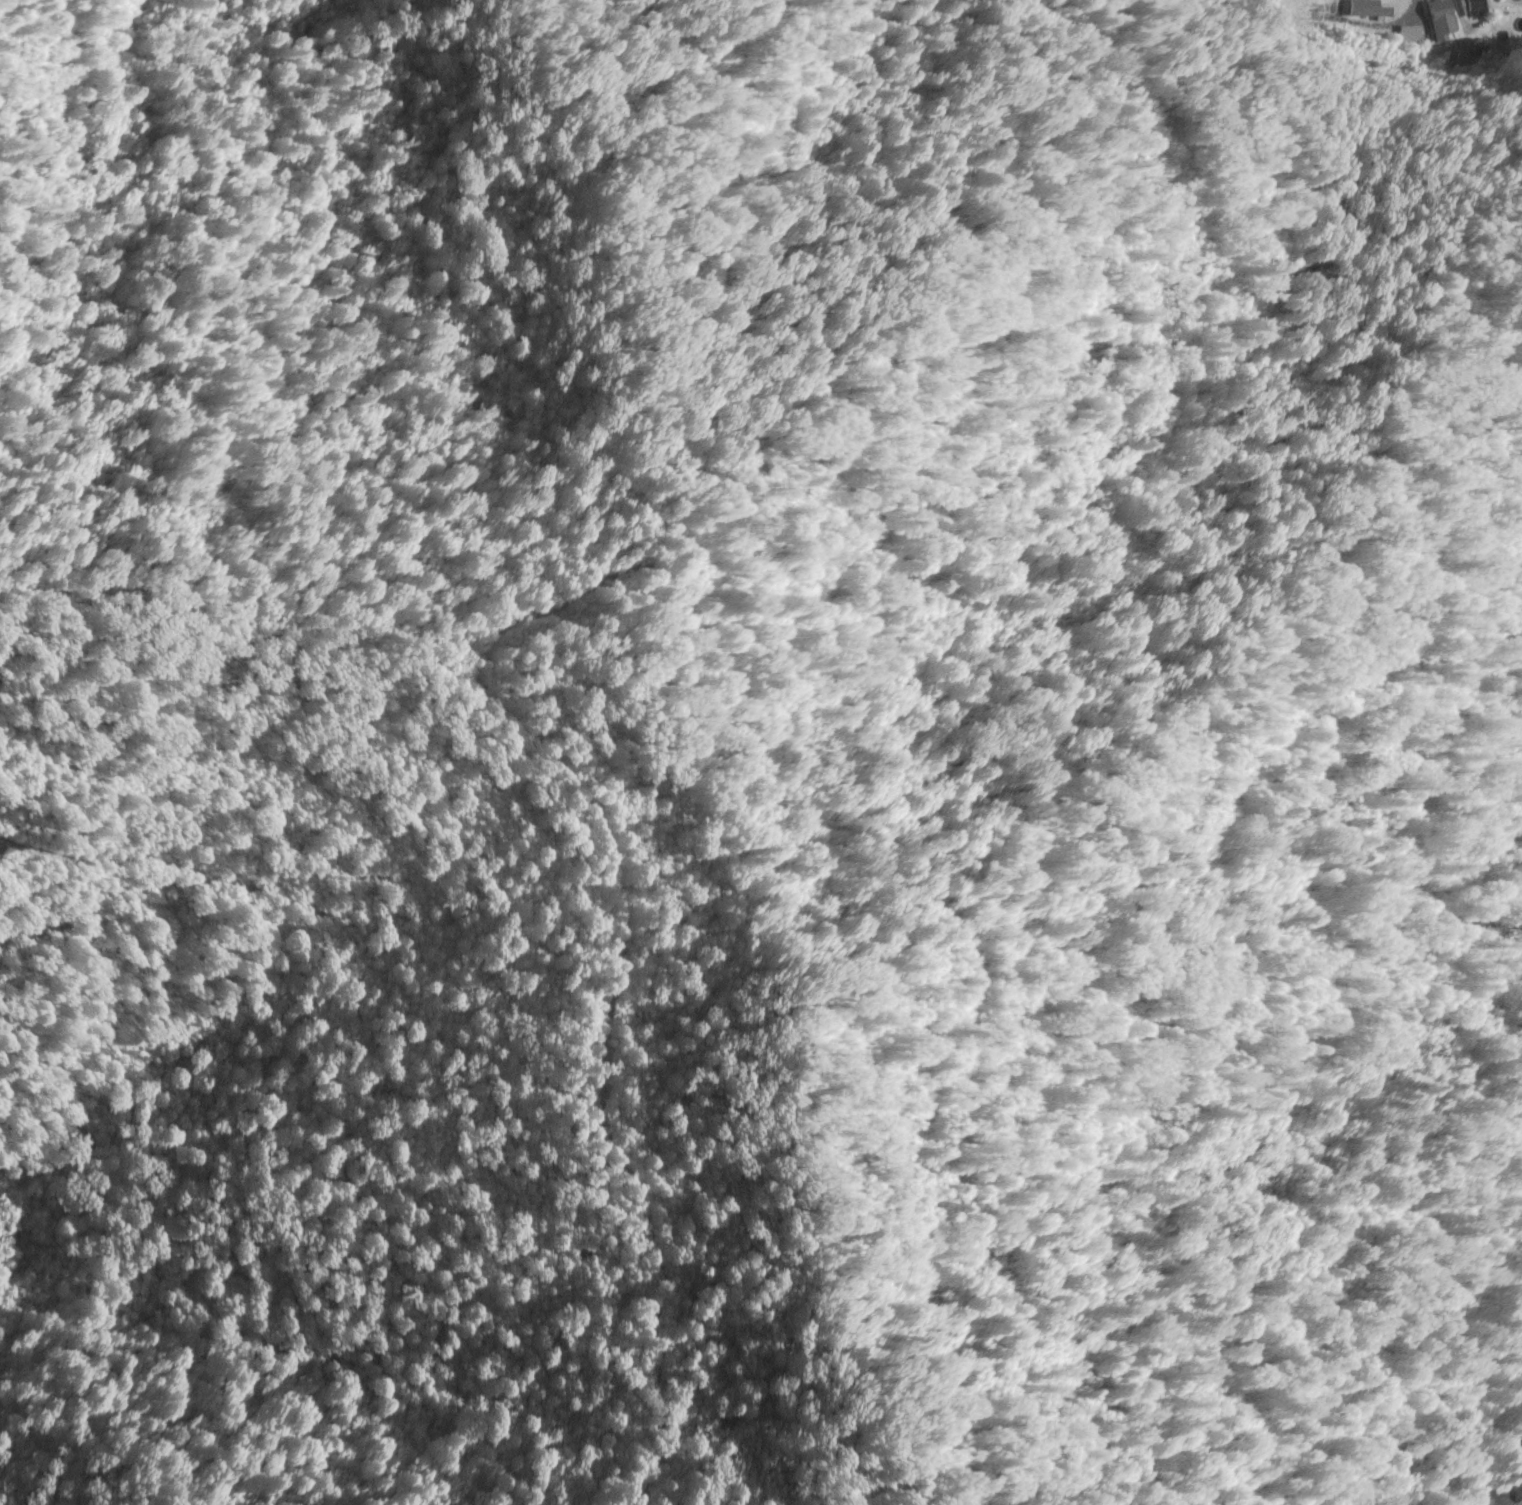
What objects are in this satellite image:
building: (1475, 8)
building: (1371, 9)
building: (1442, 23)
building: (1474, 50)

